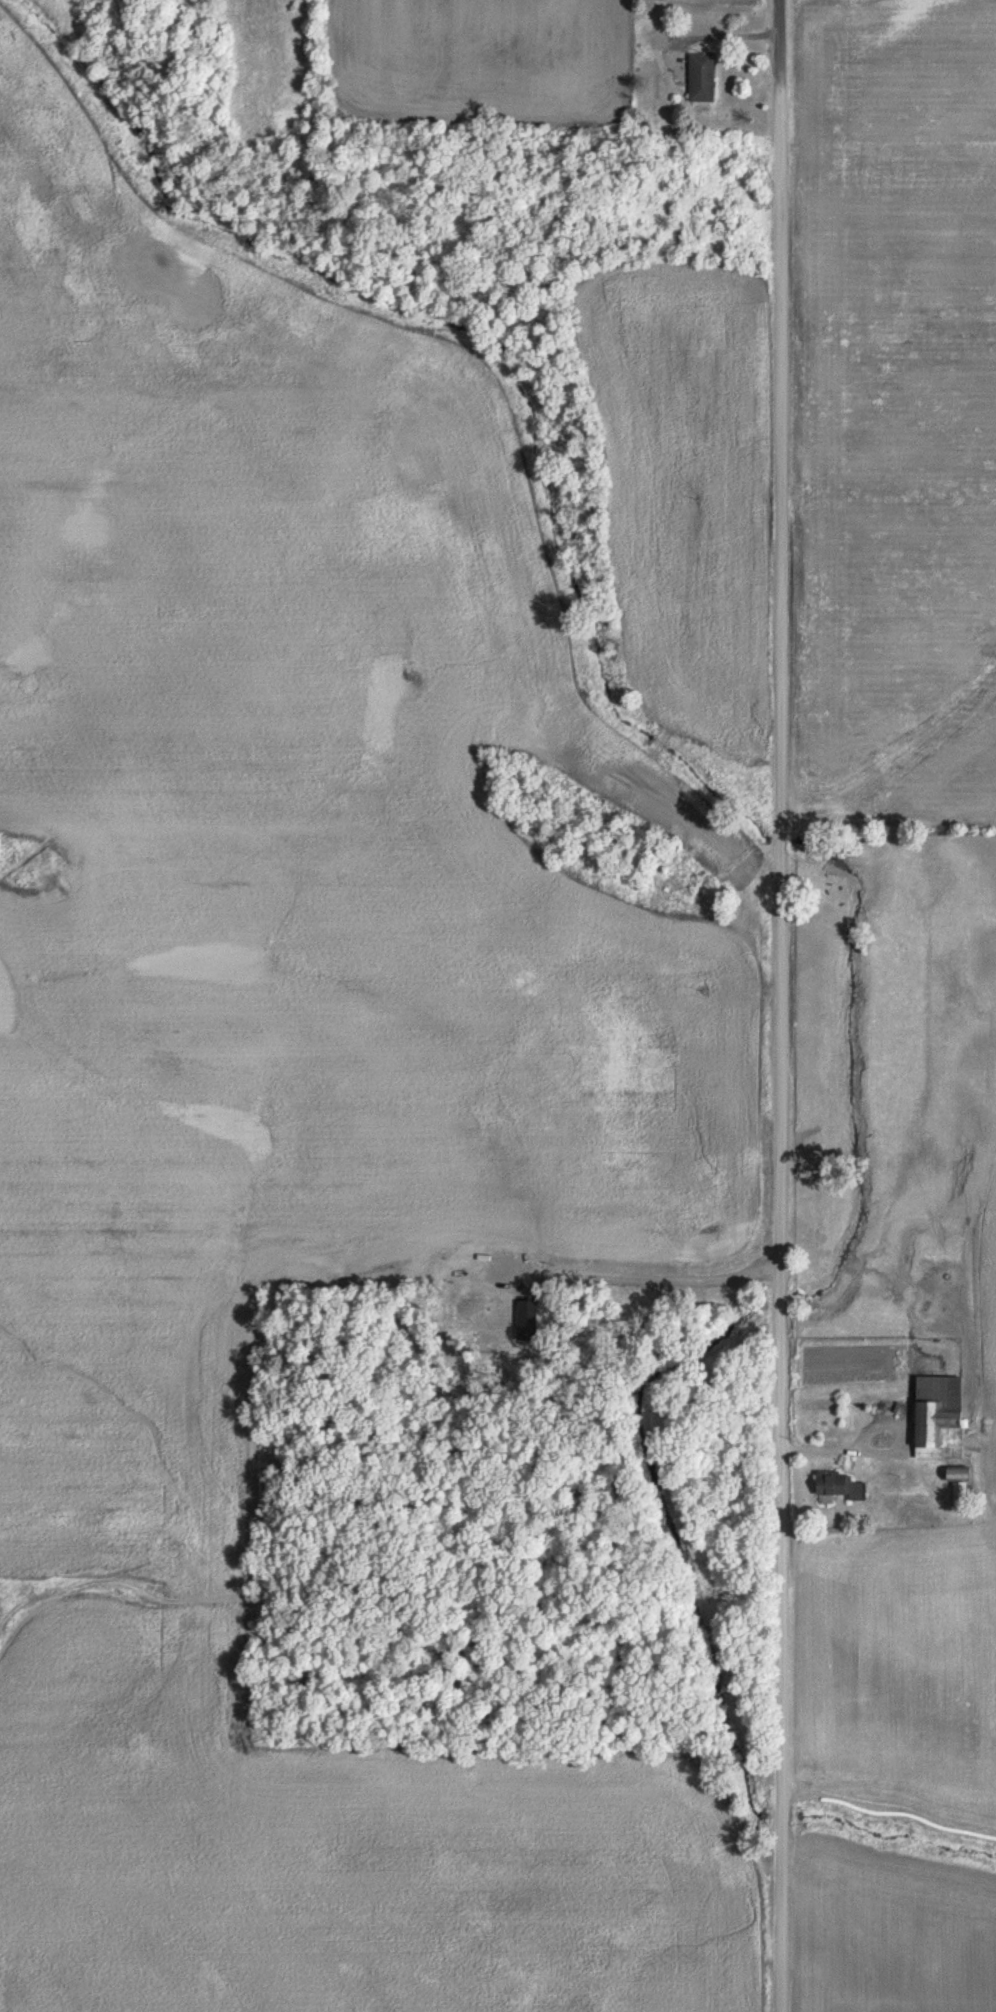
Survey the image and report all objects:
crop: (722, 1)
crop: (490, 62)
building: (700, 76)
crop: (901, 401)
road: (778, 892)
crop: (279, 1119)
building: (955, 1472)
building: (836, 1484)
road: (779, 1810)
road: (778, 1923)

